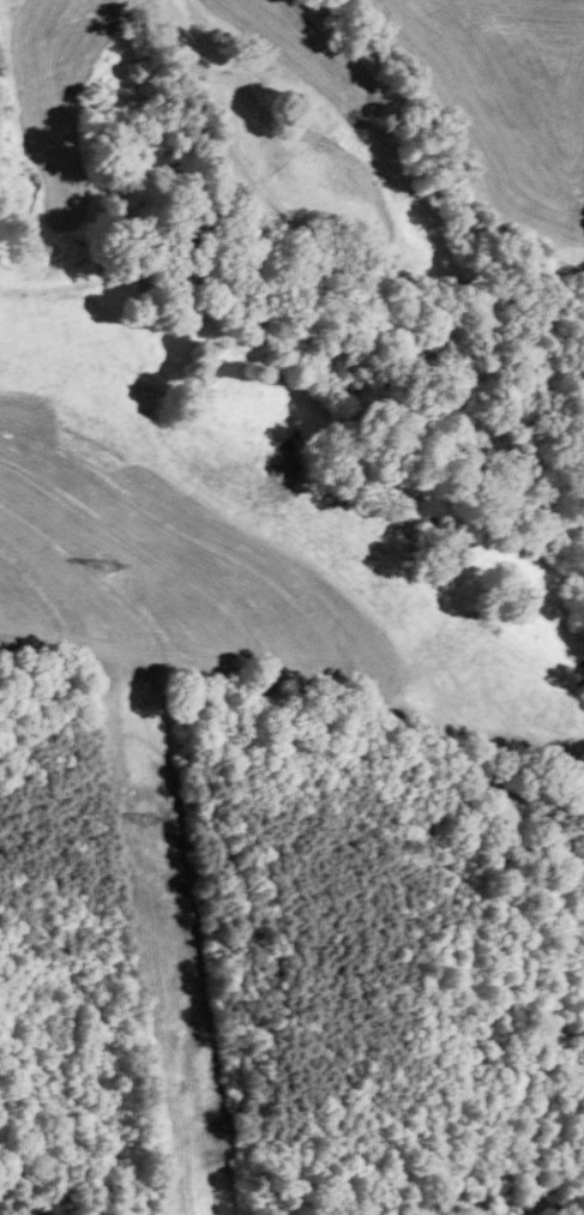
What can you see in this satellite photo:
power tower: (109, 567)
power tower: (147, 816)

